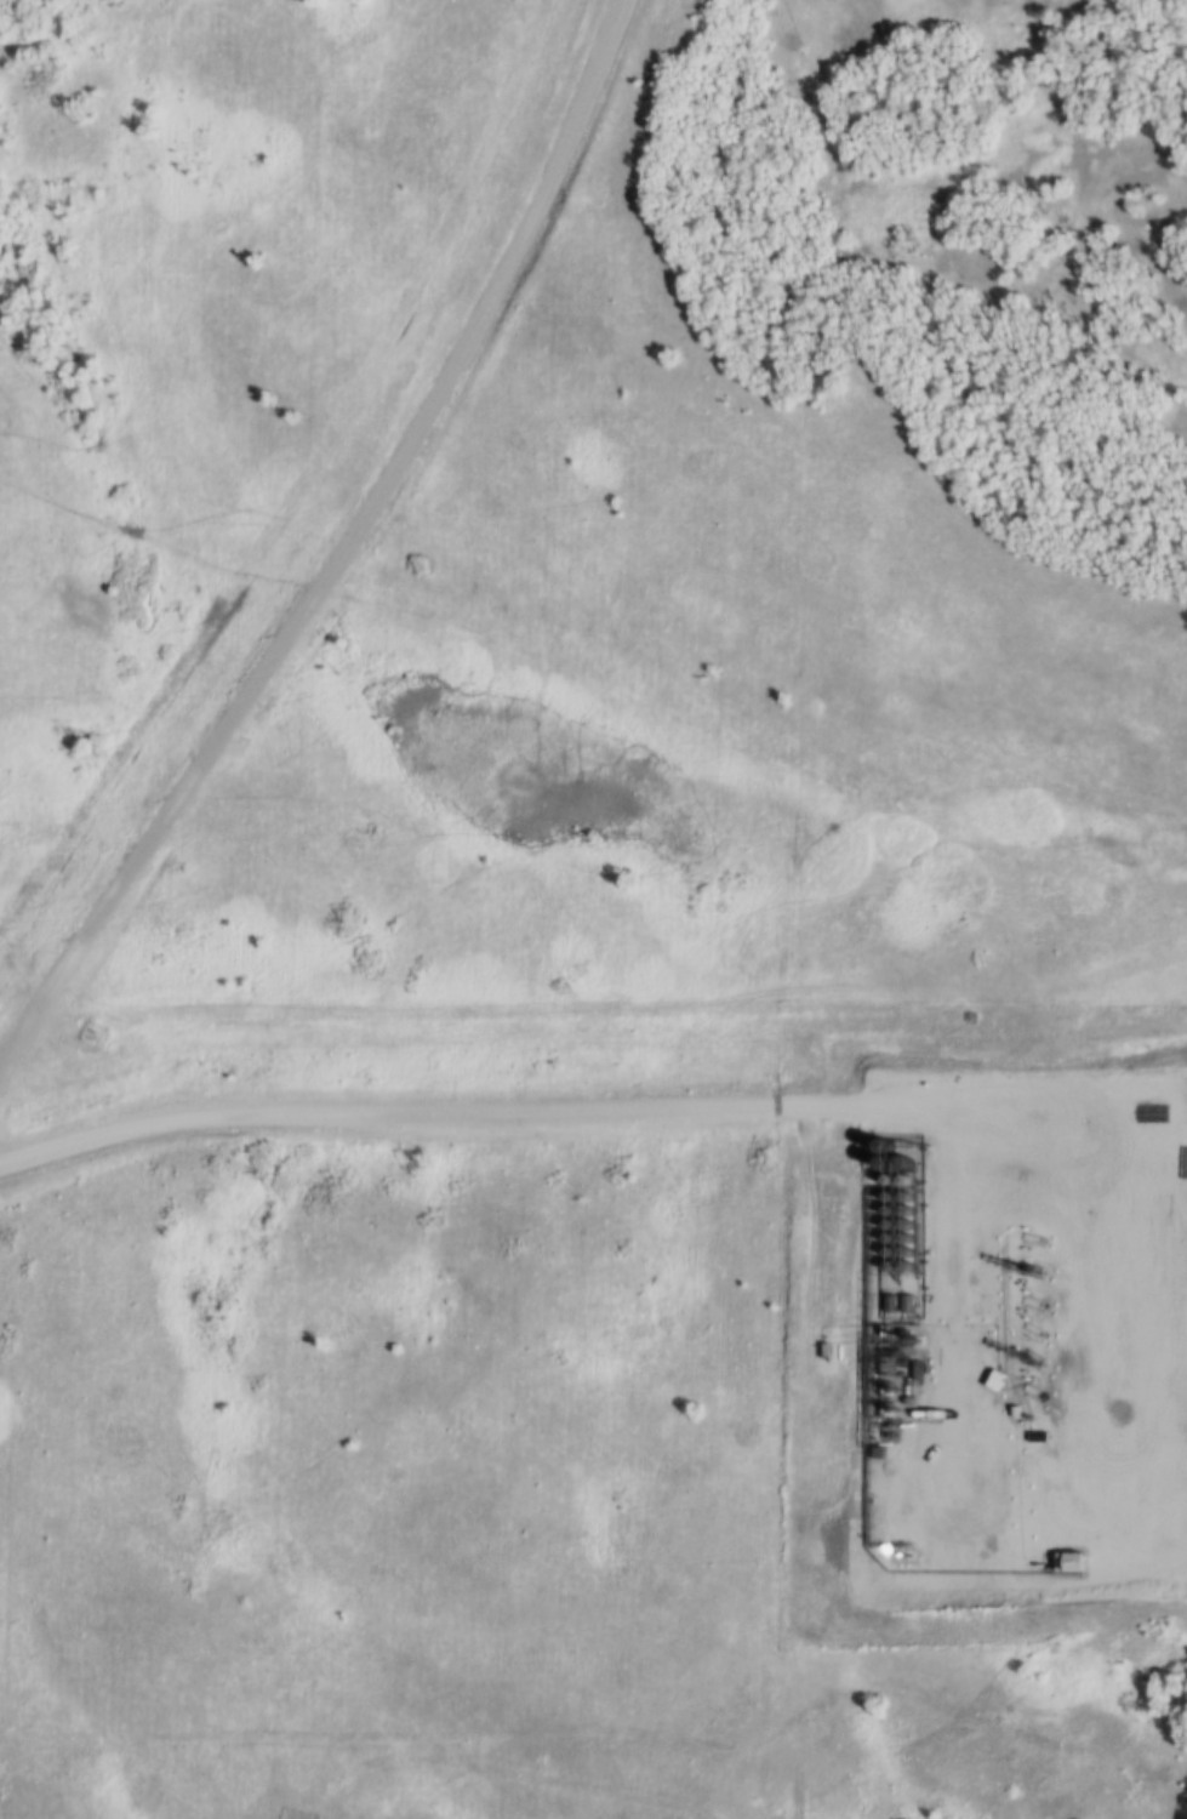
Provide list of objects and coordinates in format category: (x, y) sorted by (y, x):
road: (321, 537)
road: (469, 1105)
building: (884, 1201)
storage tank: (884, 1201)
building: (900, 1201)
storage tank: (900, 1201)
building: (883, 1214)
storage tank: (883, 1214)
building: (901, 1215)
storage tank: (901, 1215)
building: (901, 1227)
storage tank: (901, 1227)
building: (883, 1228)
storage tank: (883, 1228)
building: (884, 1241)
storage tank: (884, 1241)
building: (901, 1242)
storage tank: (901, 1242)
building: (884, 1255)
storage tank: (884, 1255)
building: (901, 1255)
storage tank: (901, 1255)
building: (884, 1268)
storage tank: (884, 1268)
building: (902, 1268)
storage tank: (902, 1268)
petroleum well: (1052, 1270)
petroleum well: (1052, 1359)

